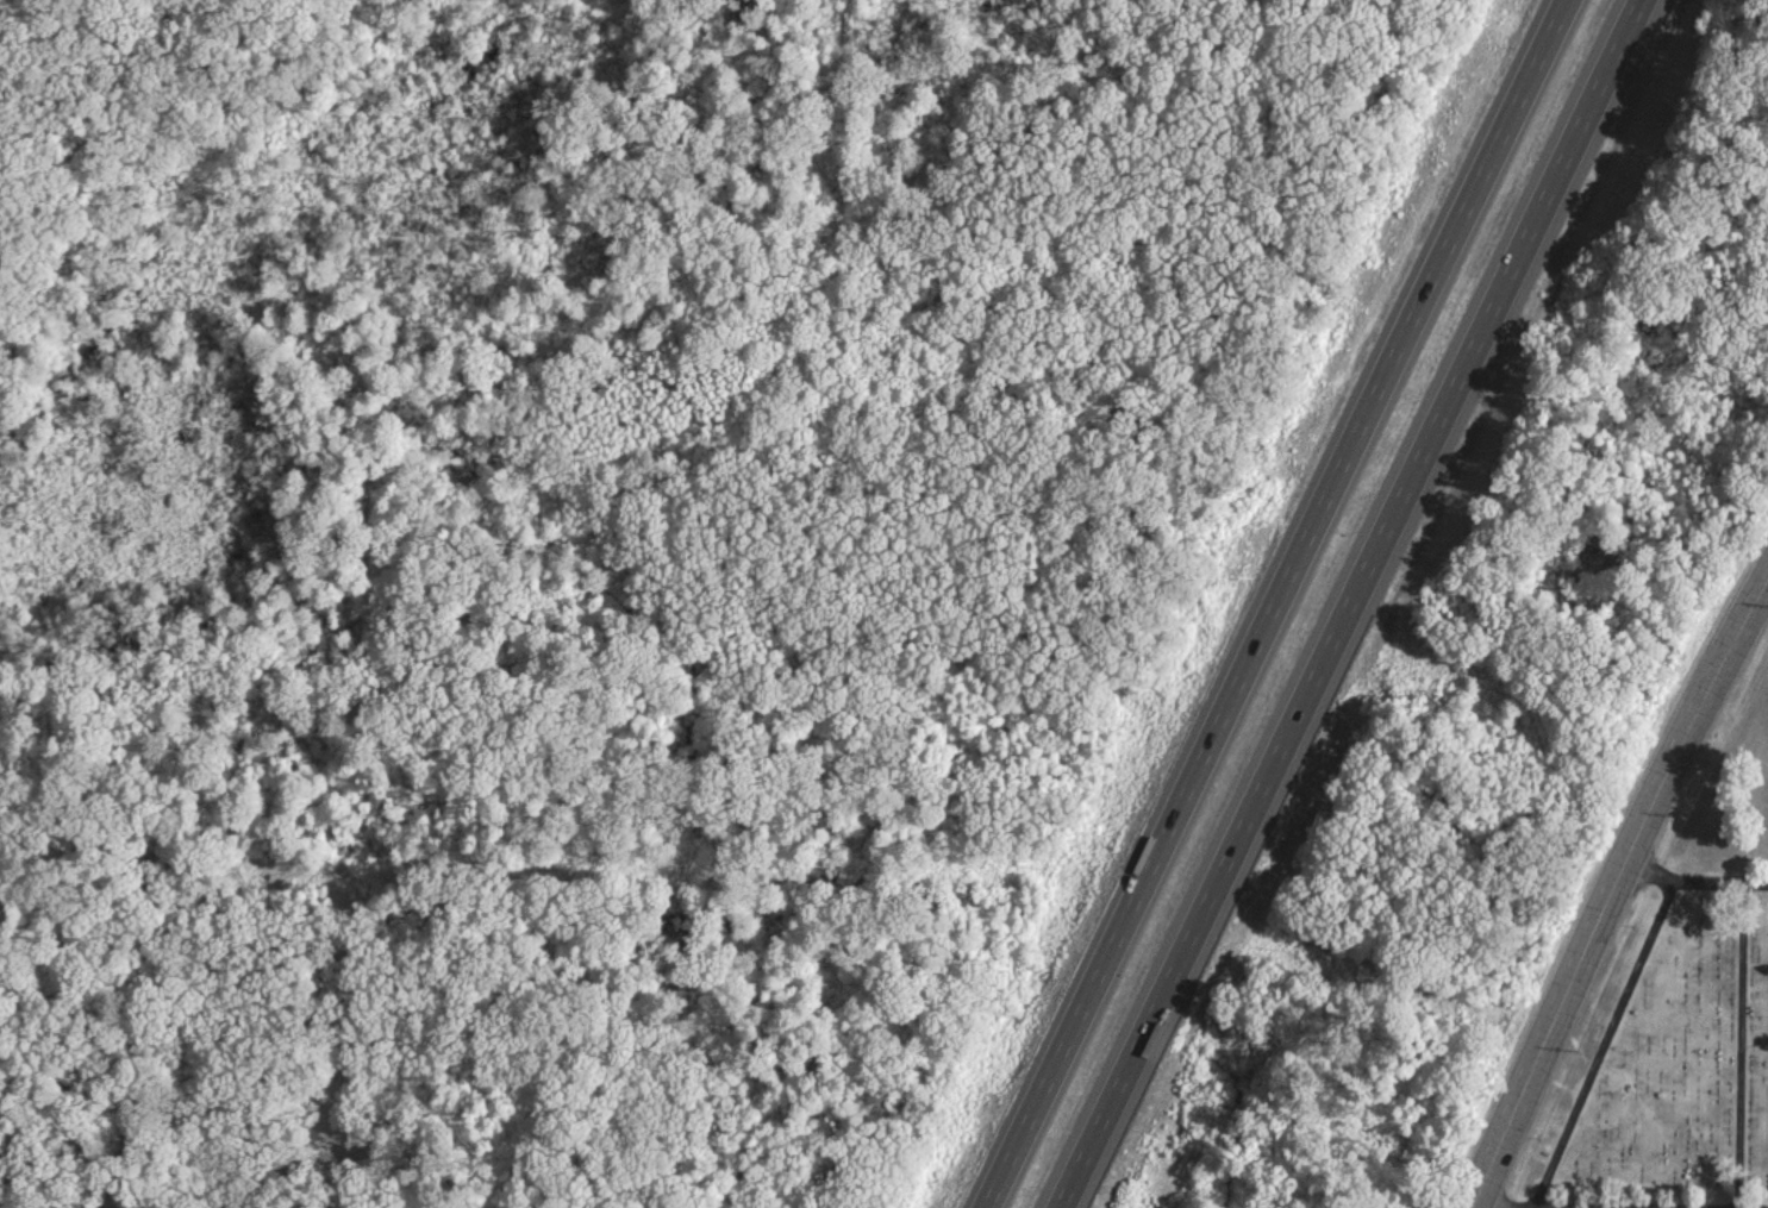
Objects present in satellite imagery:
road: (1261, 603)
road: (1341, 603)
road: (1611, 888)
road: (1689, 897)
road: (1597, 1052)
road: (1733, 1054)
park: (1661, 1063)

